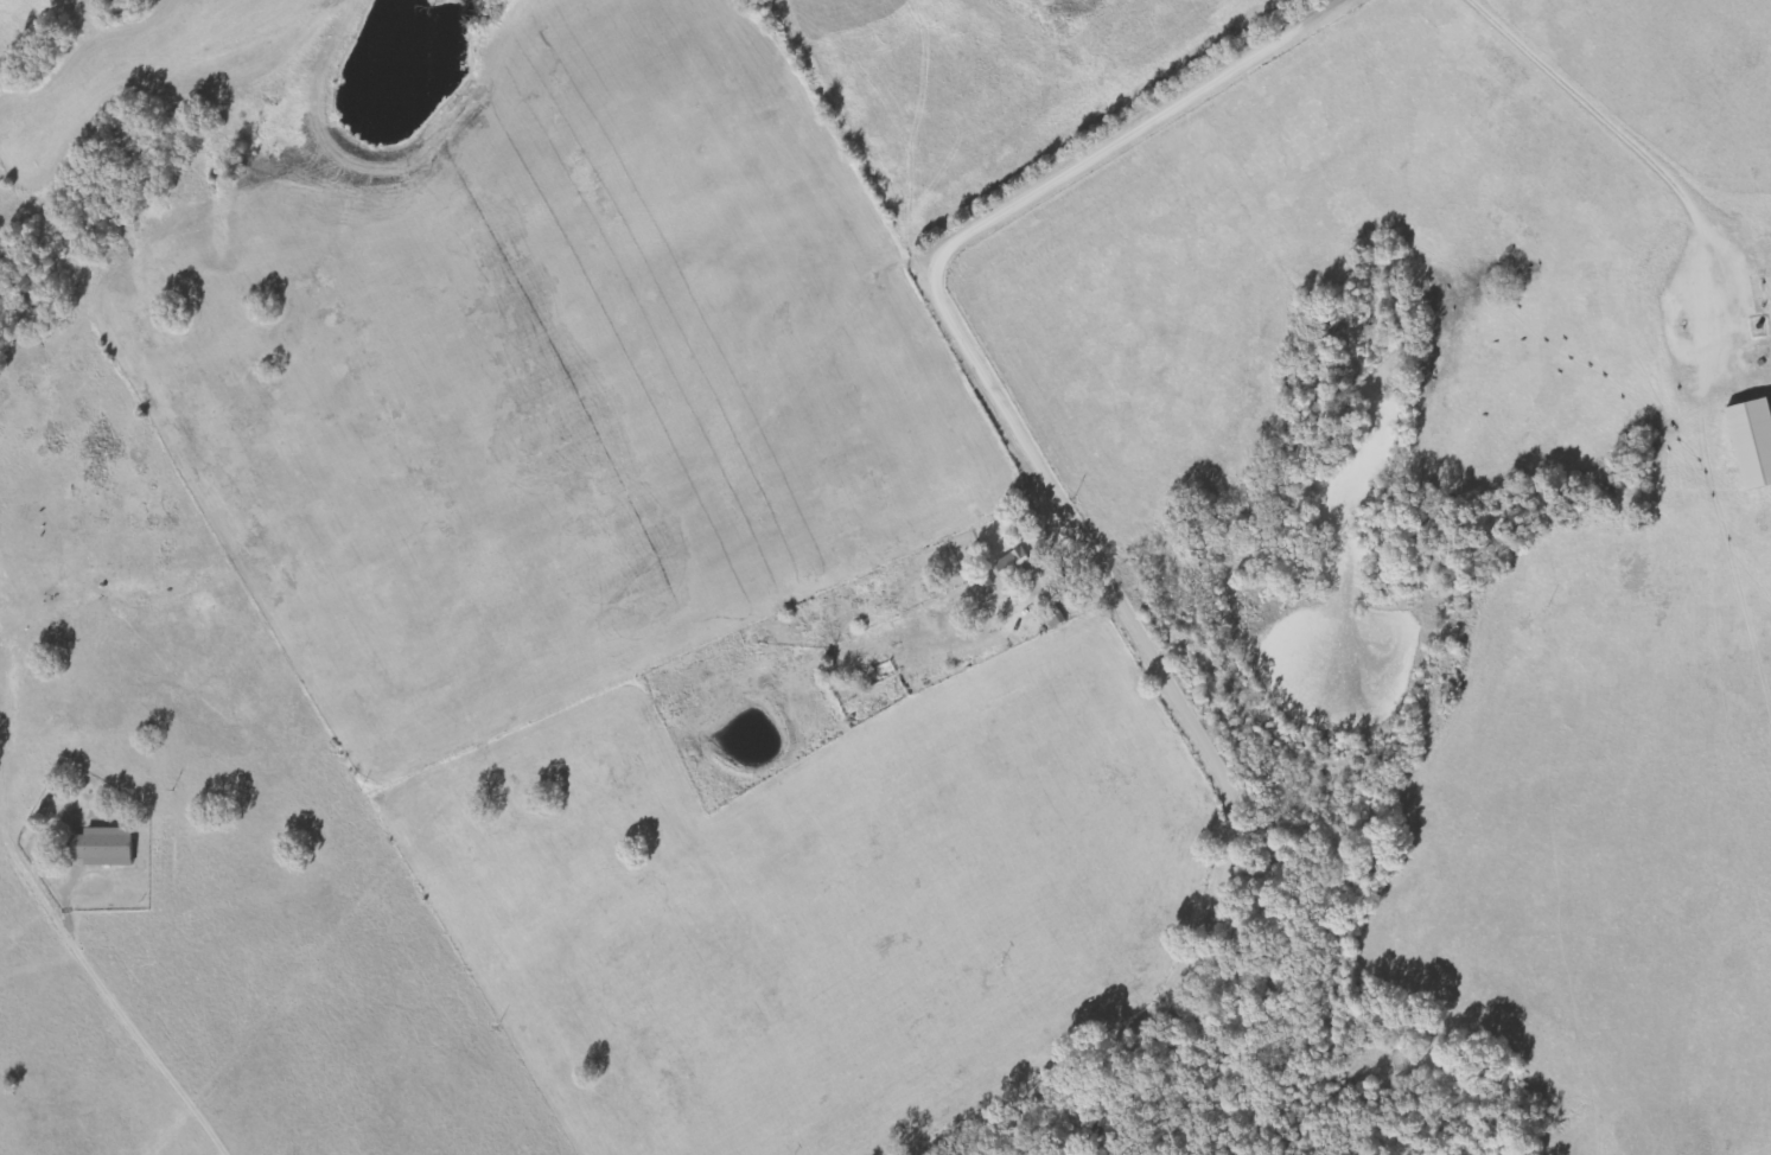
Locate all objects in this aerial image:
road: (1077, 540)
building: (1017, 566)
dam: (1304, 751)
building: (107, 847)

